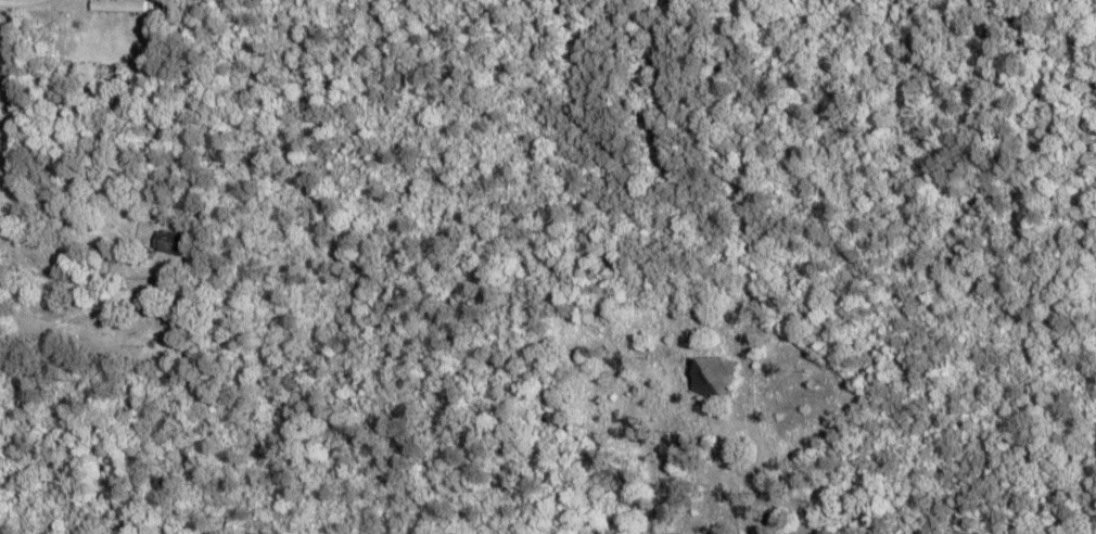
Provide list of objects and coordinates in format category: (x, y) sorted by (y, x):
building: (116, 4)
building: (166, 240)
building: (133, 296)
building: (709, 376)

